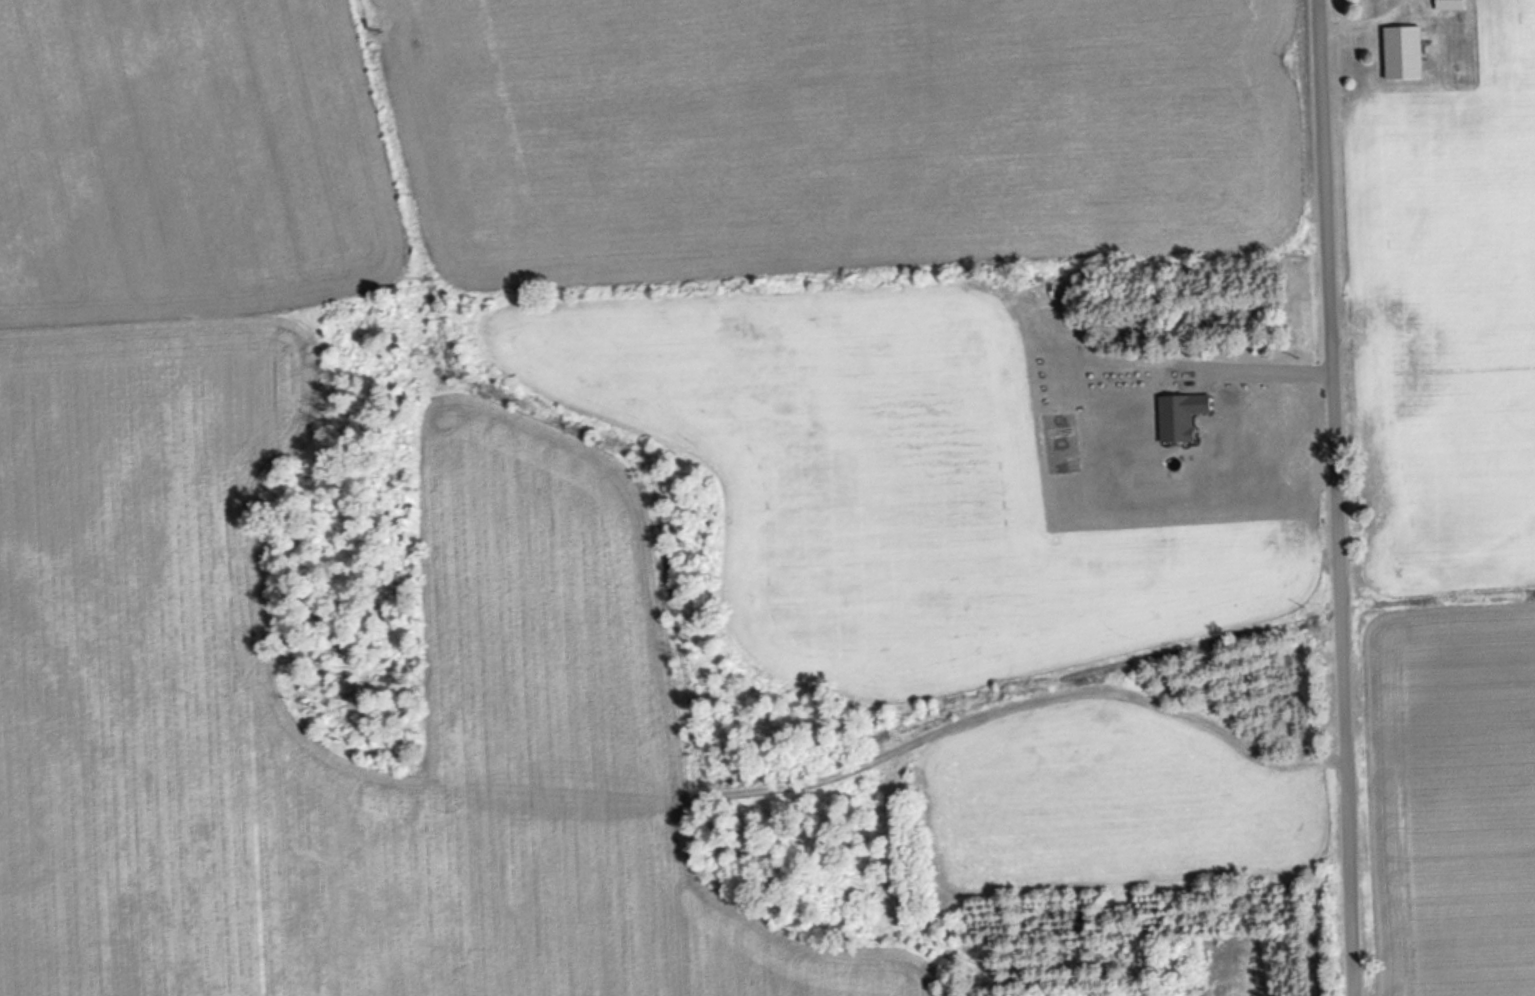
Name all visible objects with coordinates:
building: (1454, 4)
building: (1408, 52)
road: (1331, 497)

